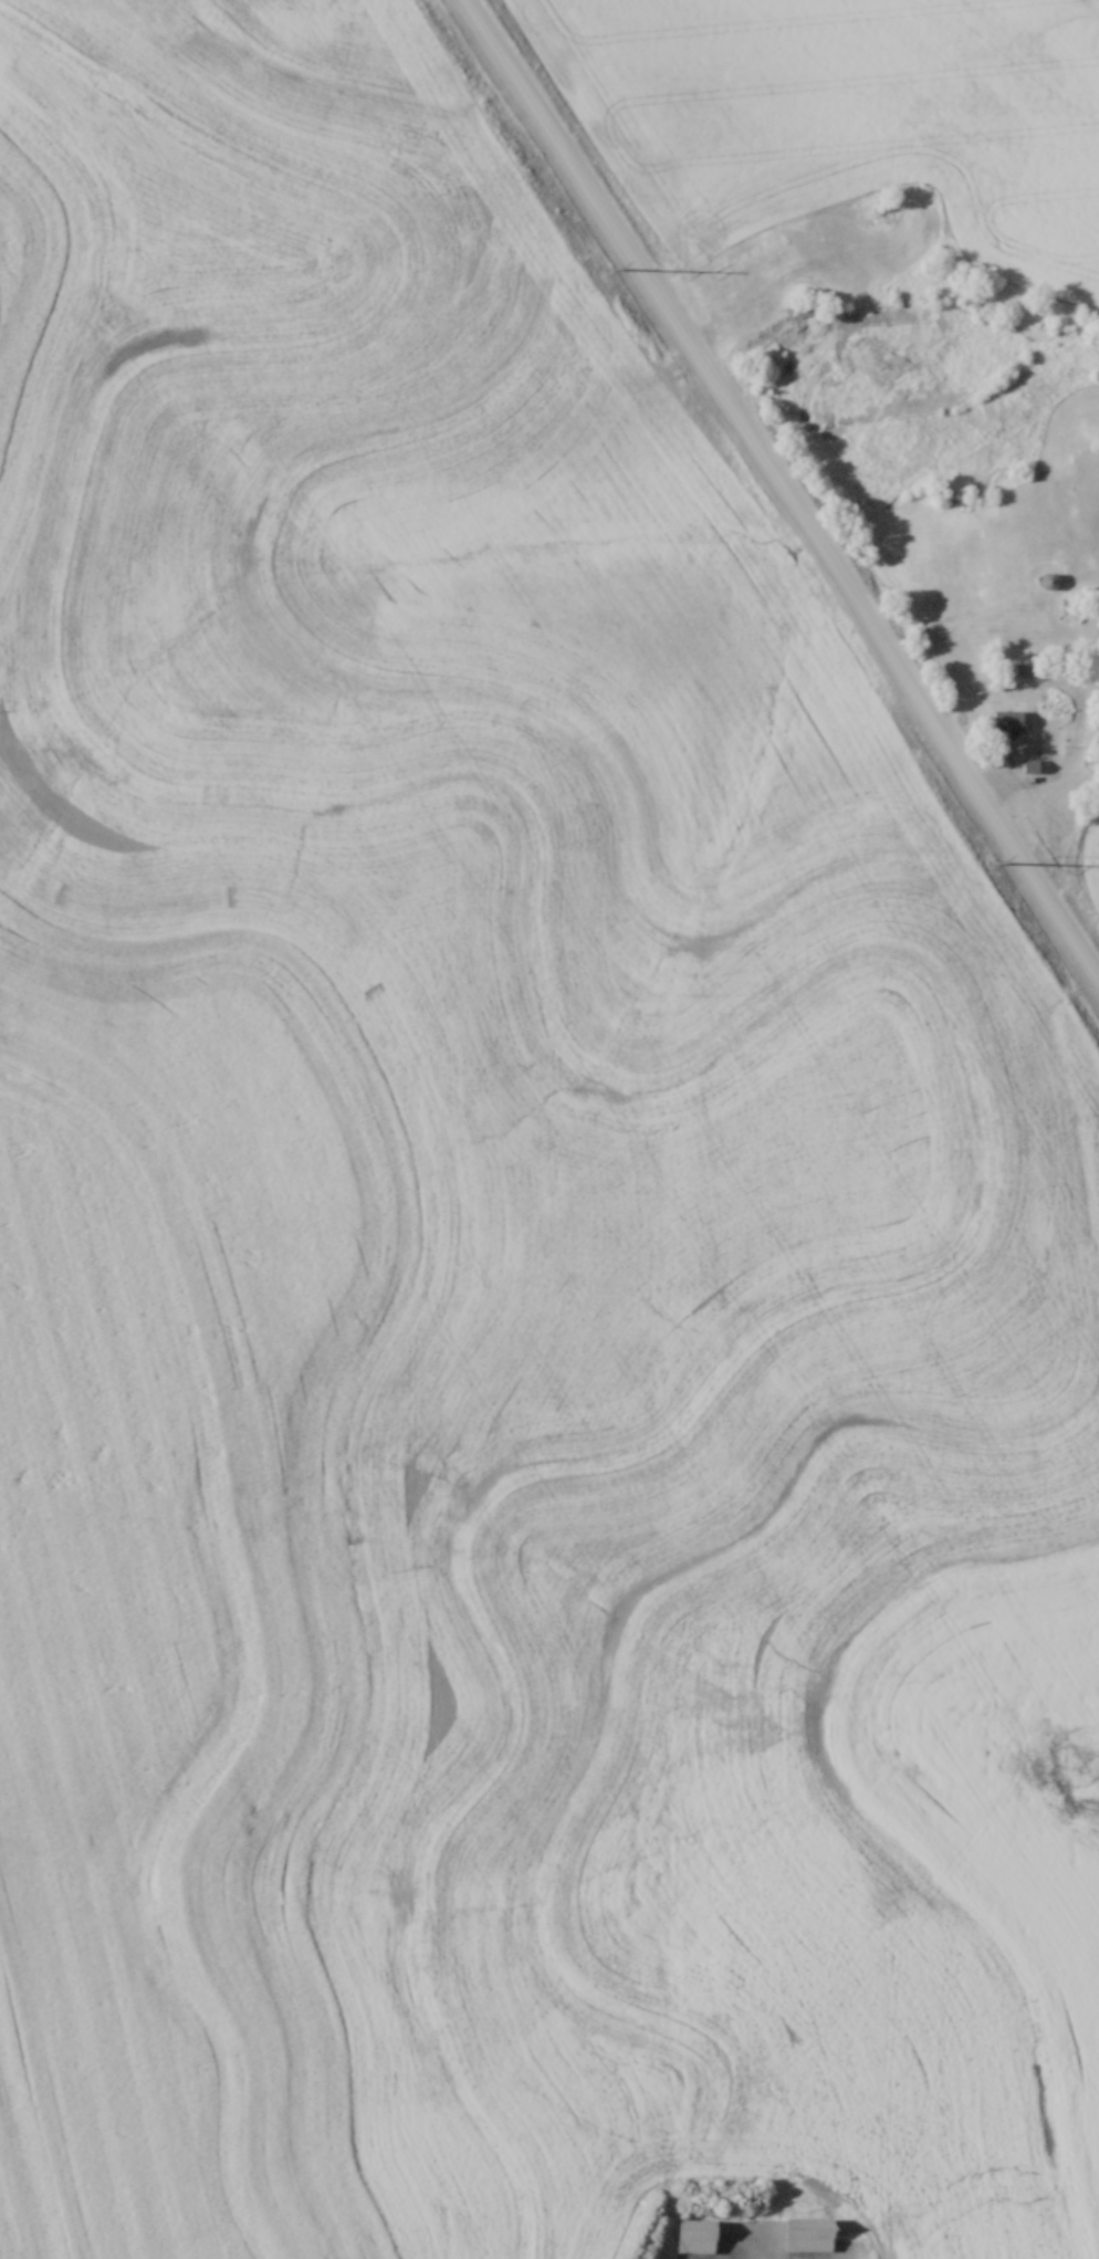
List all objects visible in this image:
power tower: (605, 268)
road: (783, 489)
building: (1045, 578)
building: (1002, 719)
building: (1095, 746)
building: (1024, 764)
road: (1049, 785)
power tower: (991, 861)
building: (800, 2231)
building: (688, 2234)

